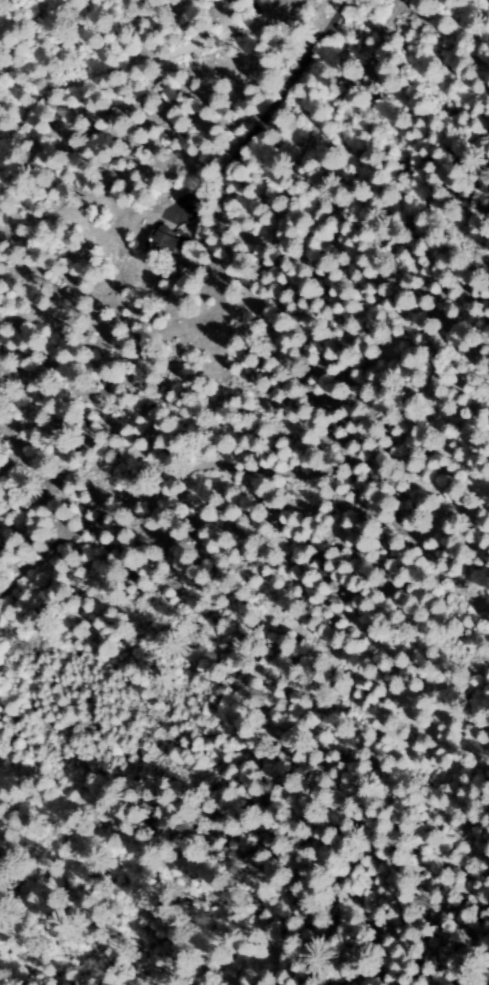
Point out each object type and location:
building: (161, 244)
building: (437, 372)

